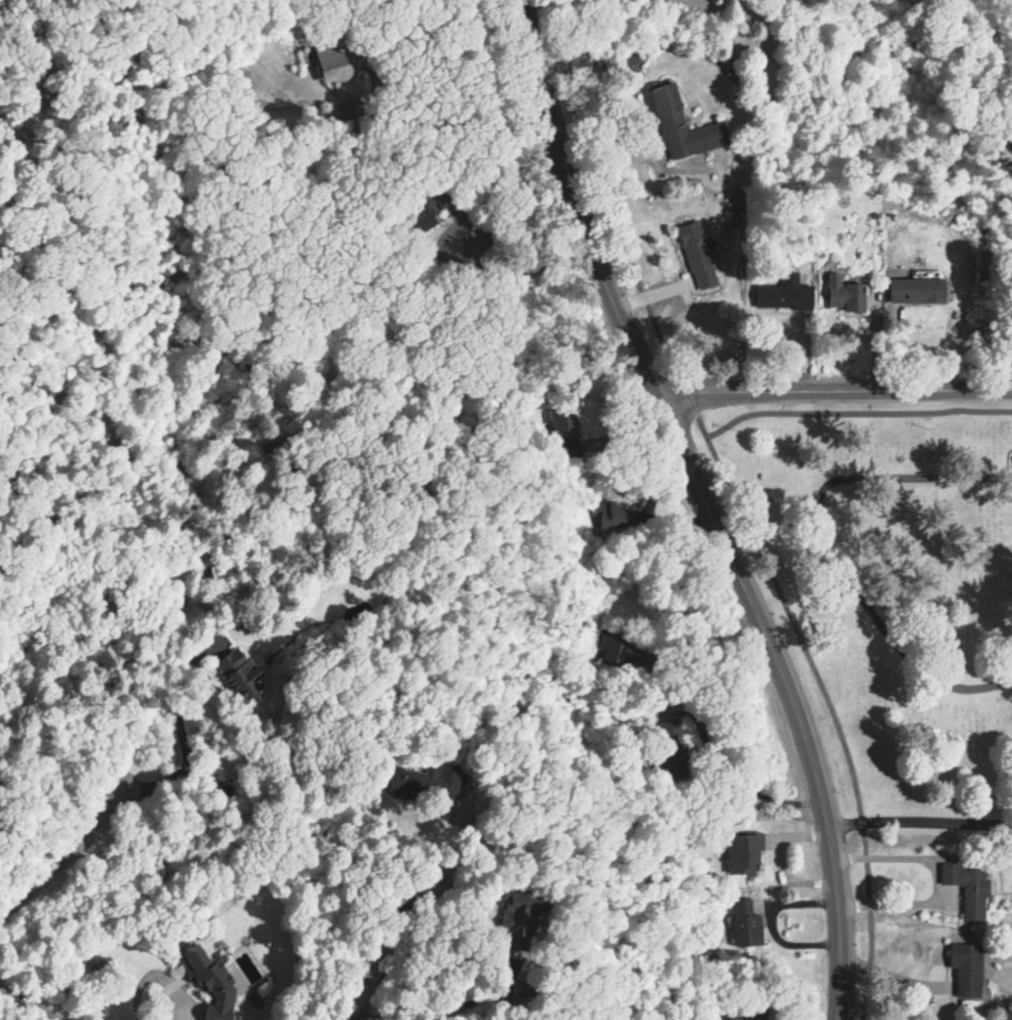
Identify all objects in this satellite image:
building: (342, 79)
road: (419, 120)
road: (641, 125)
building: (682, 126)
building: (425, 211)
building: (697, 255)
road: (475, 271)
building: (917, 290)
building: (785, 294)
building: (845, 294)
road: (833, 392)
building: (566, 428)
road: (739, 503)
road: (707, 505)
road: (819, 539)
park: (898, 584)
road: (703, 636)
building: (617, 651)
building: (239, 674)
road: (184, 736)
building: (670, 738)
road: (732, 776)
building: (426, 783)
road: (922, 824)
building: (742, 853)
road: (924, 856)
road: (74, 860)
road: (779, 861)
building: (968, 890)
road: (909, 902)
building: (520, 921)
building: (746, 924)
road: (379, 941)
building: (966, 970)
road: (891, 976)
building: (209, 982)
road: (27, 1004)
road: (174, 1007)
road: (434, 1013)
building: (724, 1017)

